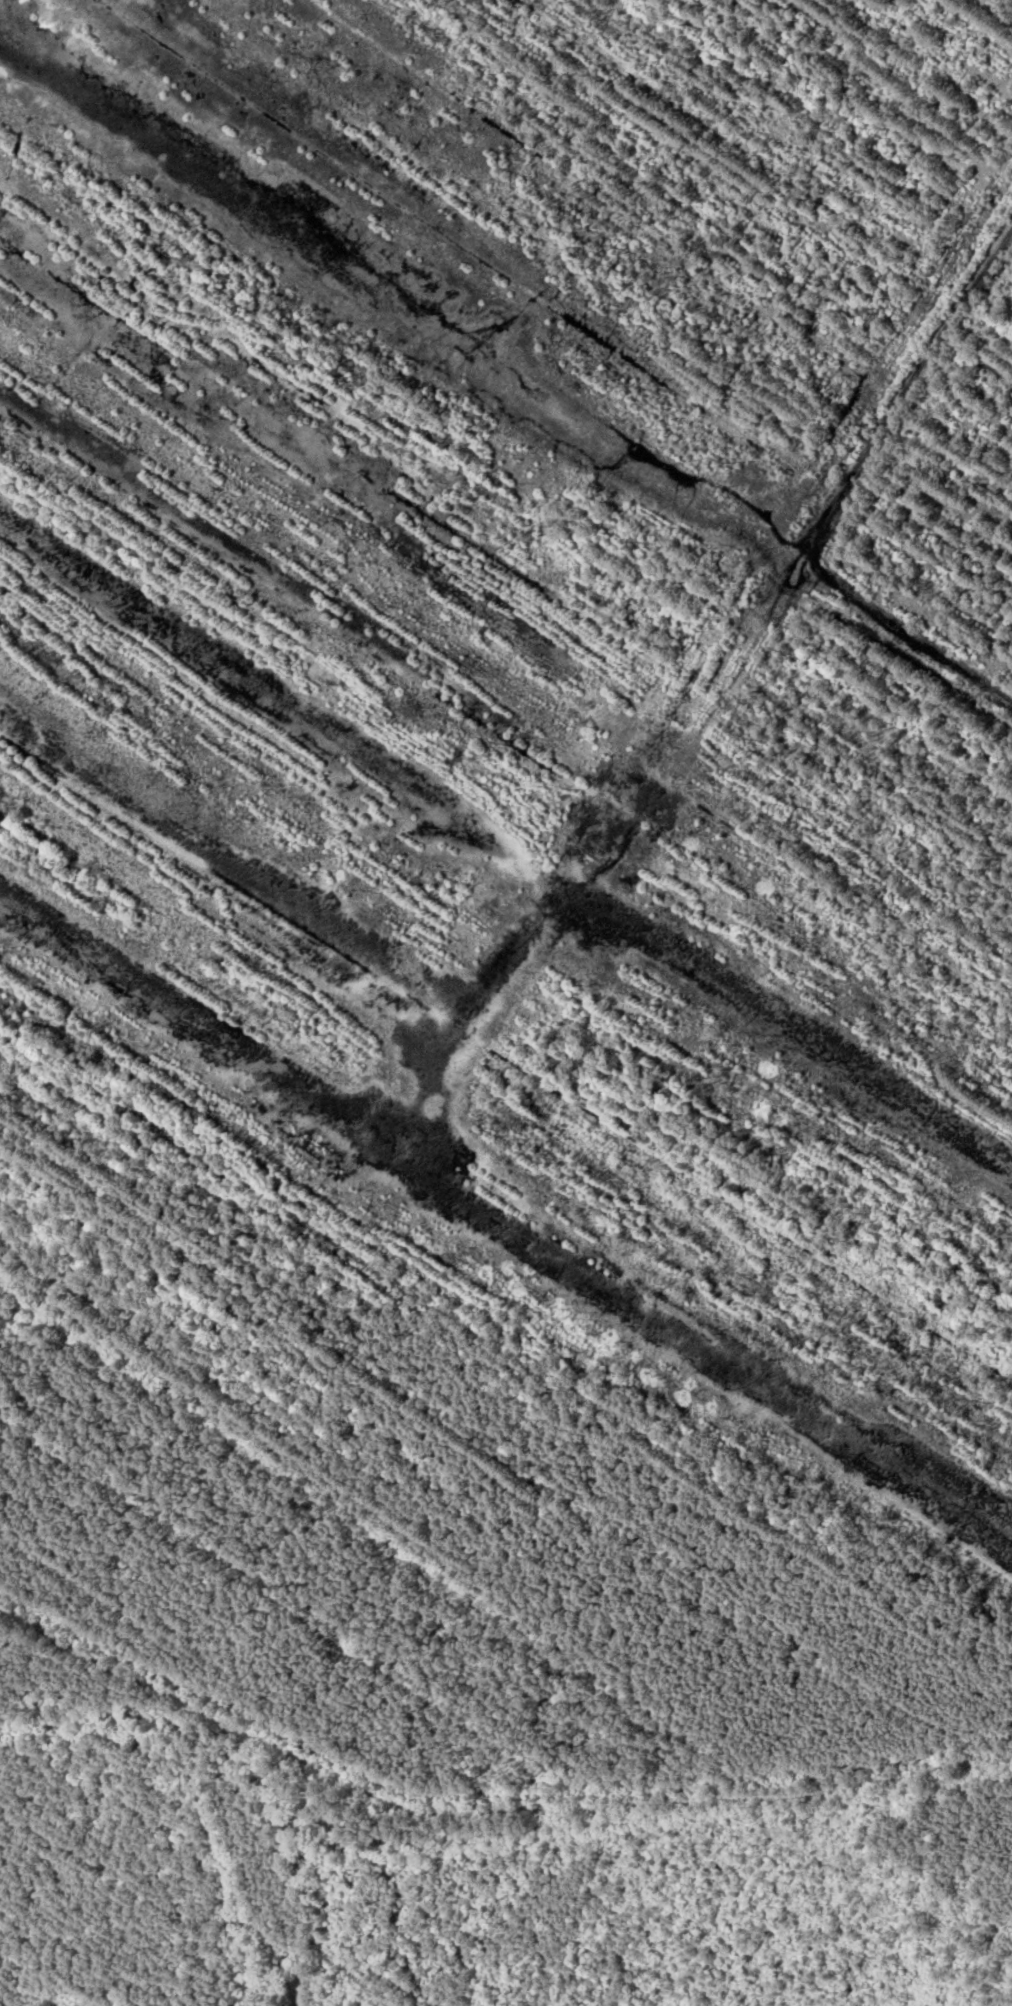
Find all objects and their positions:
road: (287, 1997)

